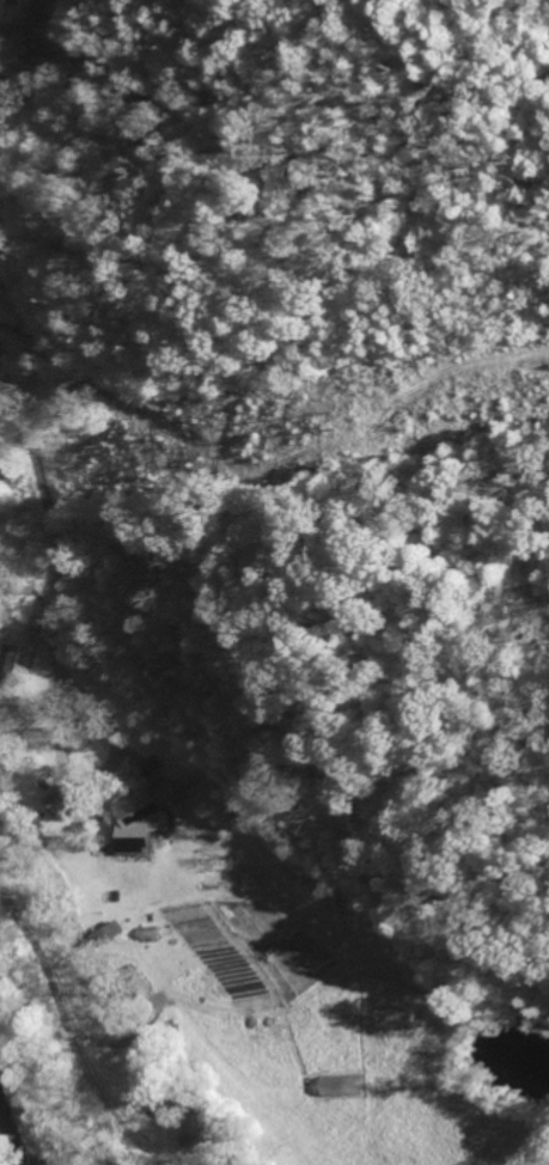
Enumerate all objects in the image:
building: (44, 7)
road: (2, 14)
road: (41, 523)
building: (7, 660)
road: (97, 780)
building: (57, 799)
building: (138, 817)
park: (17, 1140)

